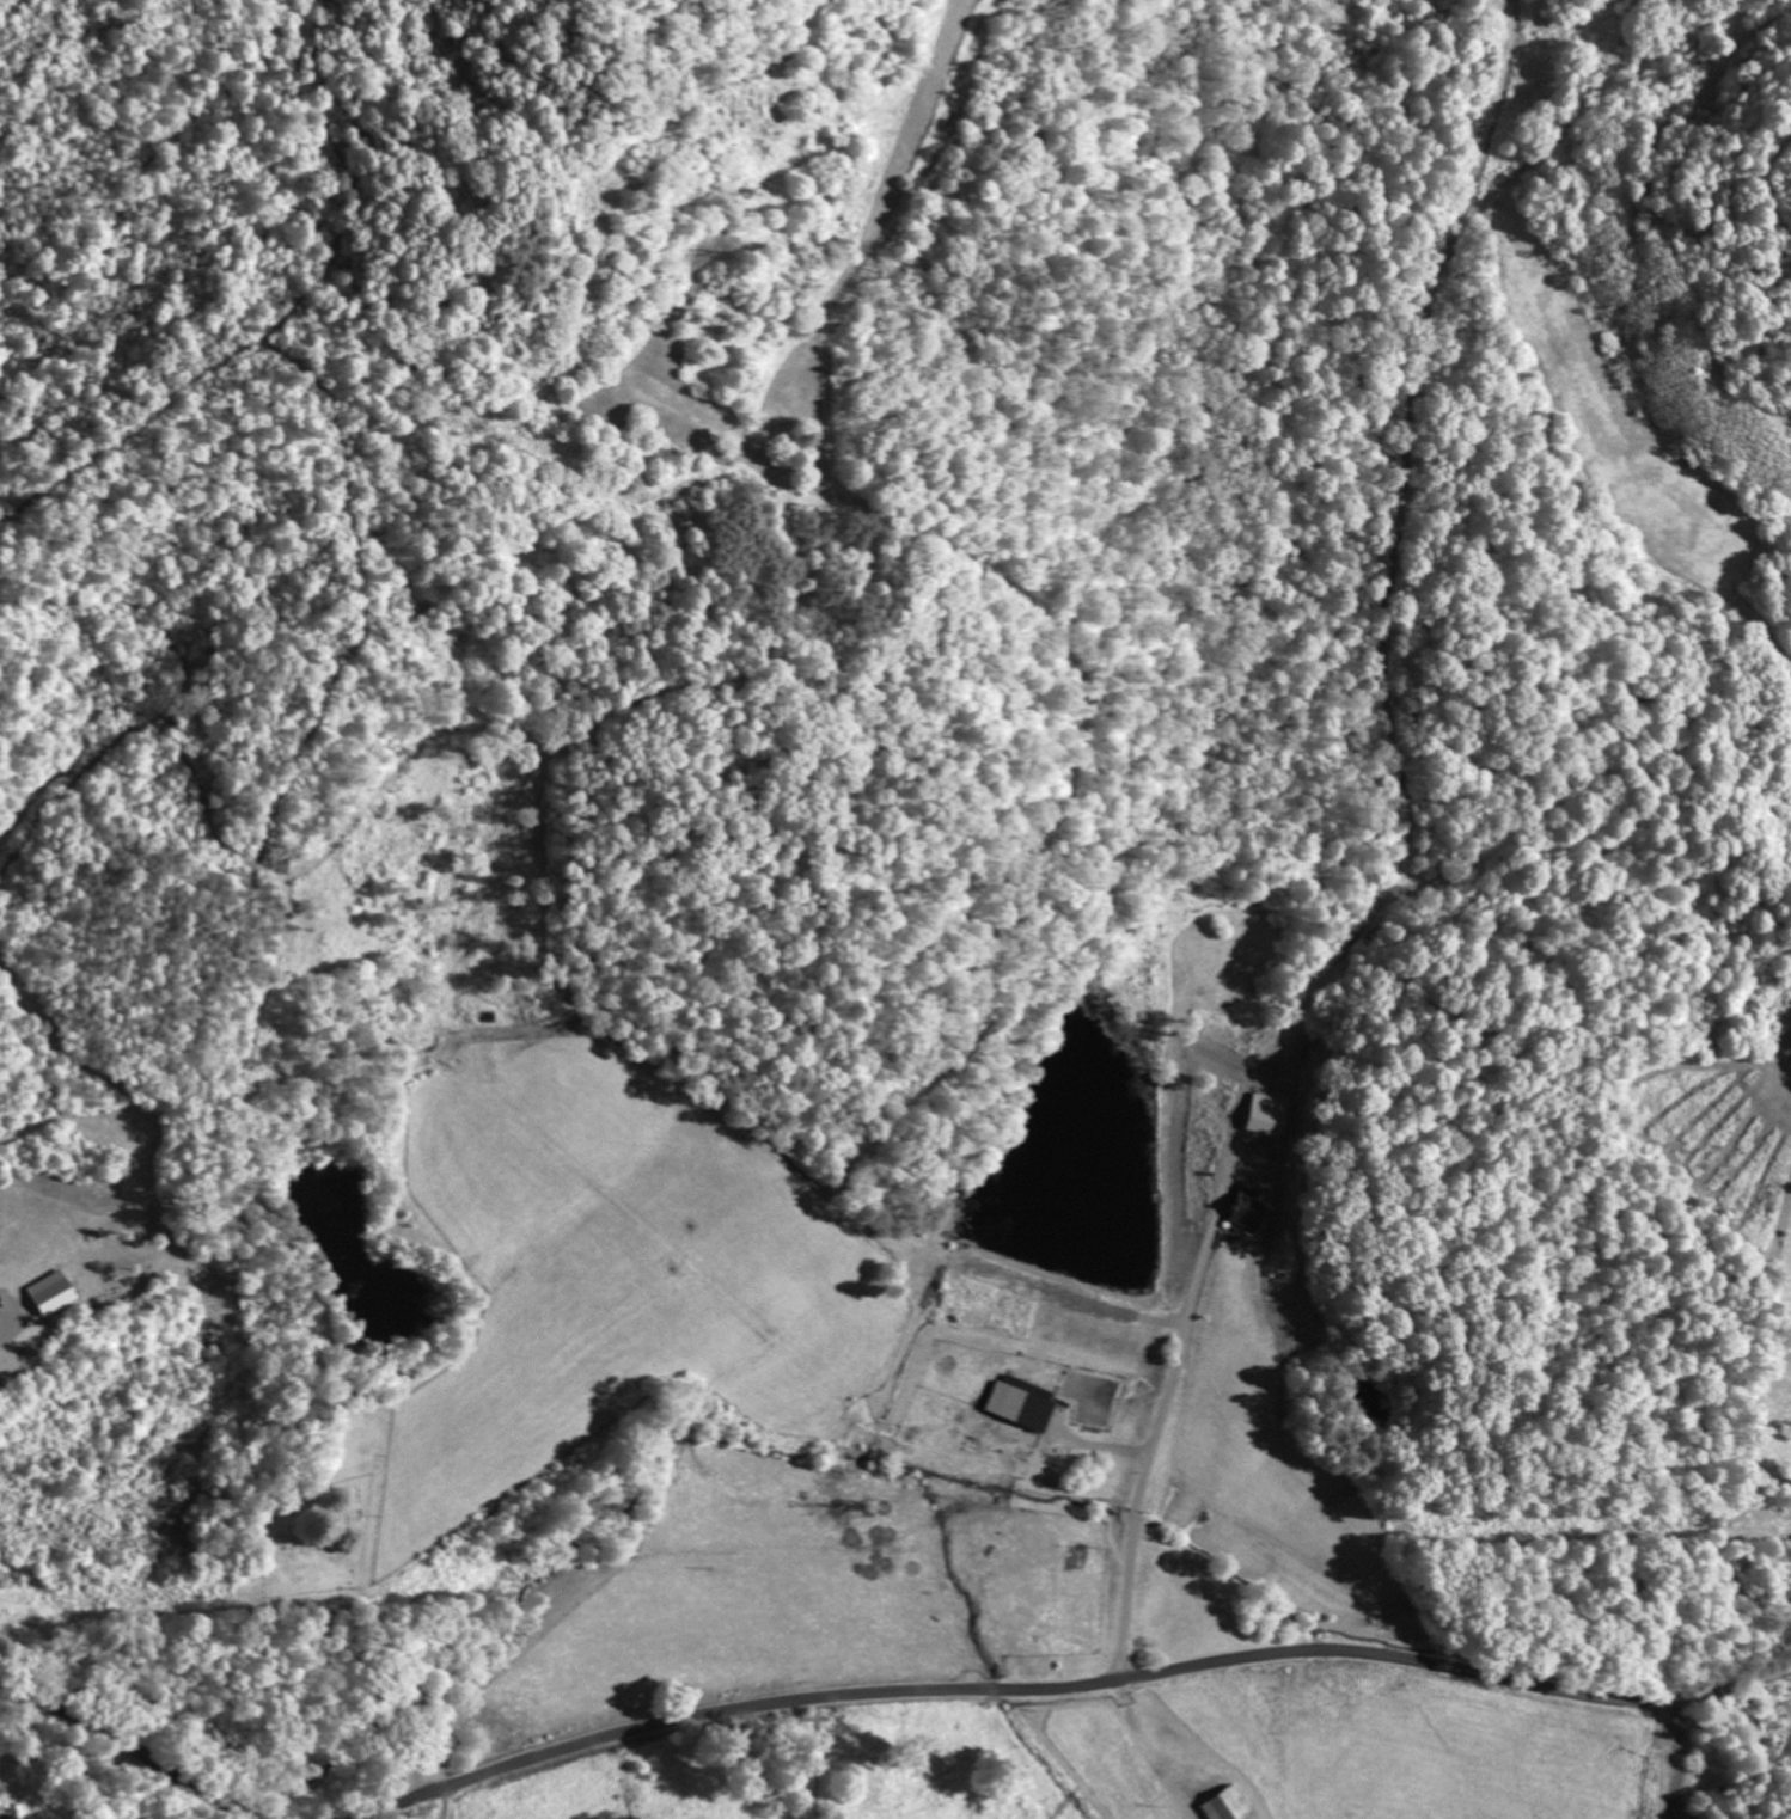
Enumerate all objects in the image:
building: (1270, 1116)
building: (1251, 1209)
building: (56, 1293)
building: (1026, 1404)
road: (1070, 1691)
road: (134, 1746)
road: (415, 1778)
building: (1230, 1806)

